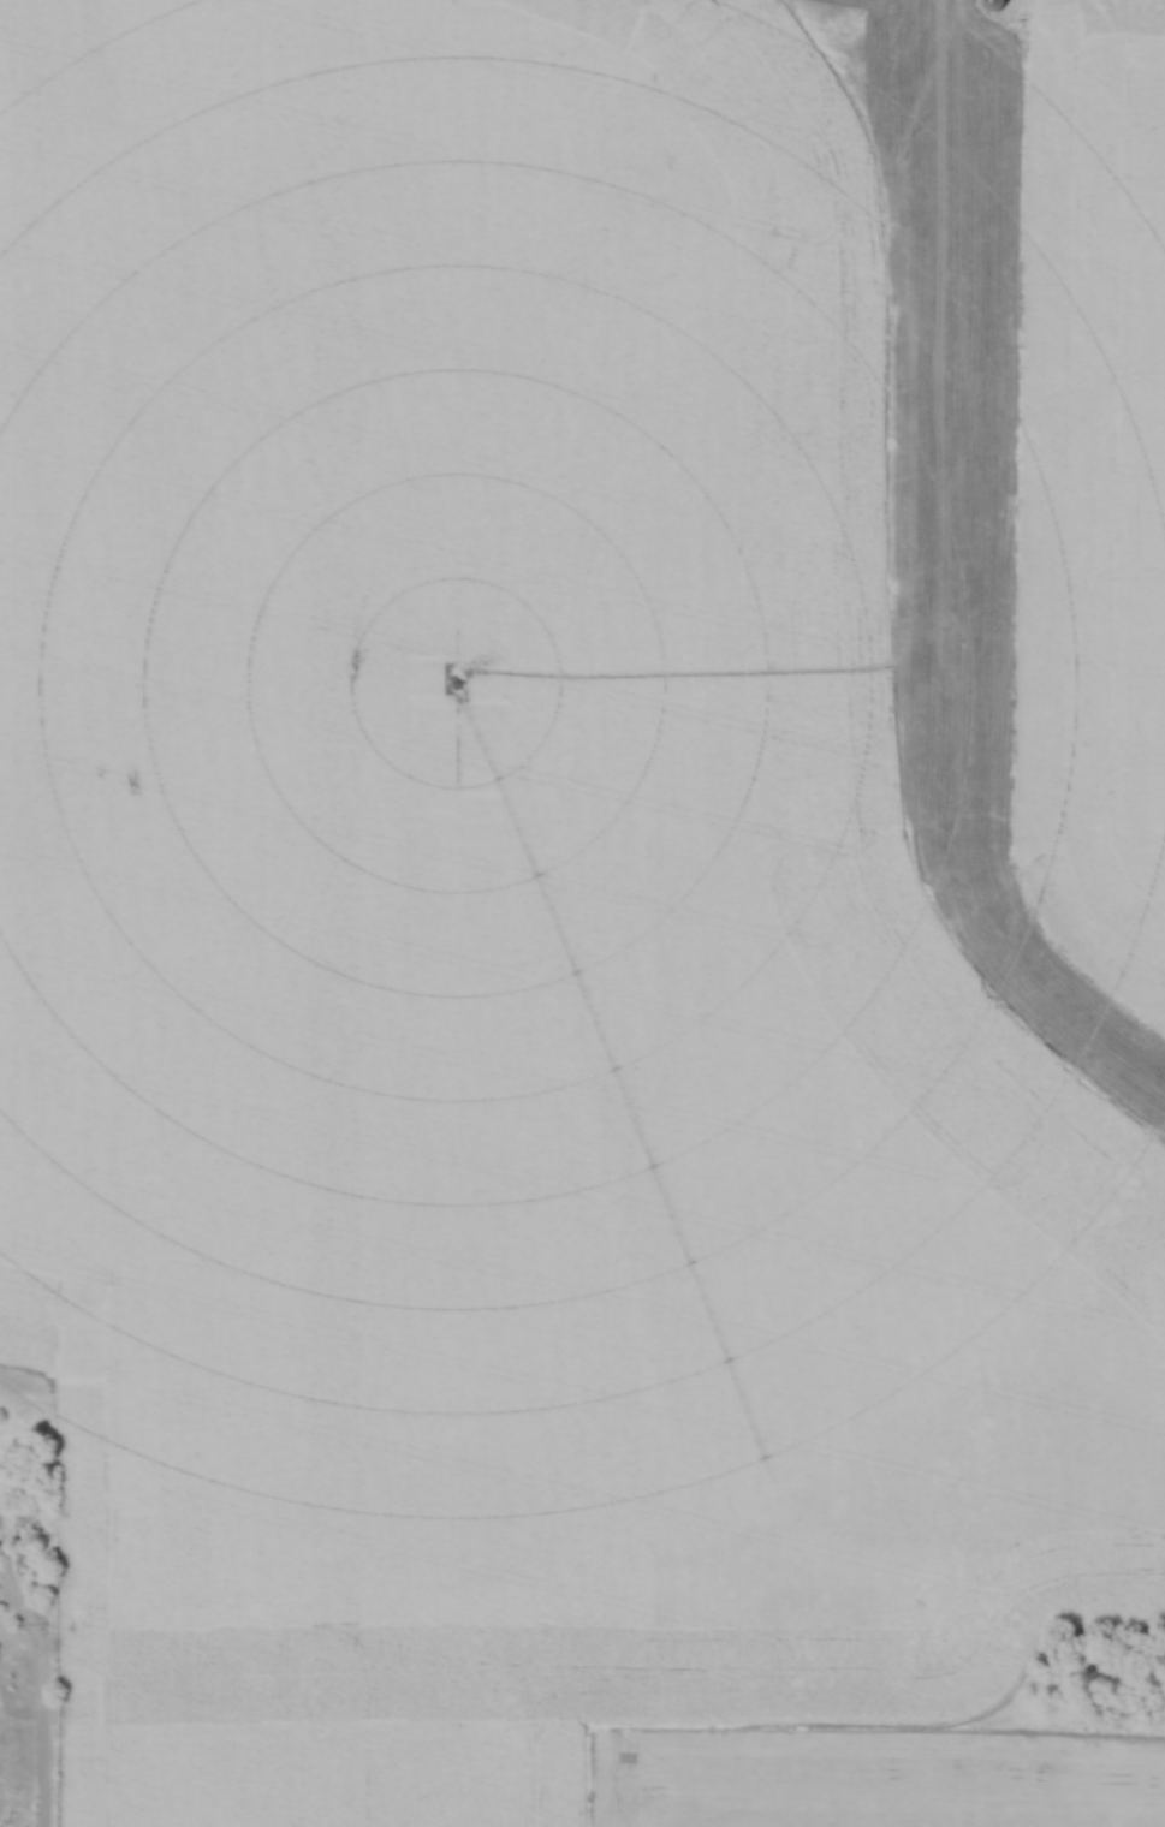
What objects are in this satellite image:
building: (994, 5)
road: (43, 1703)

